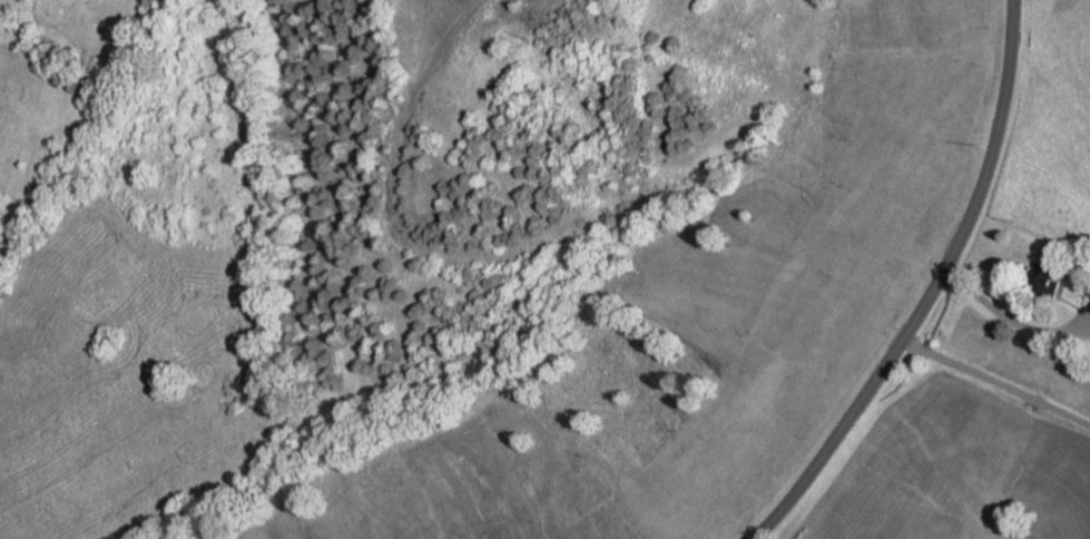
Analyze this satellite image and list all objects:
building: (1047, 277)
road: (932, 290)
road: (1074, 303)
road: (1010, 317)
road: (996, 382)

